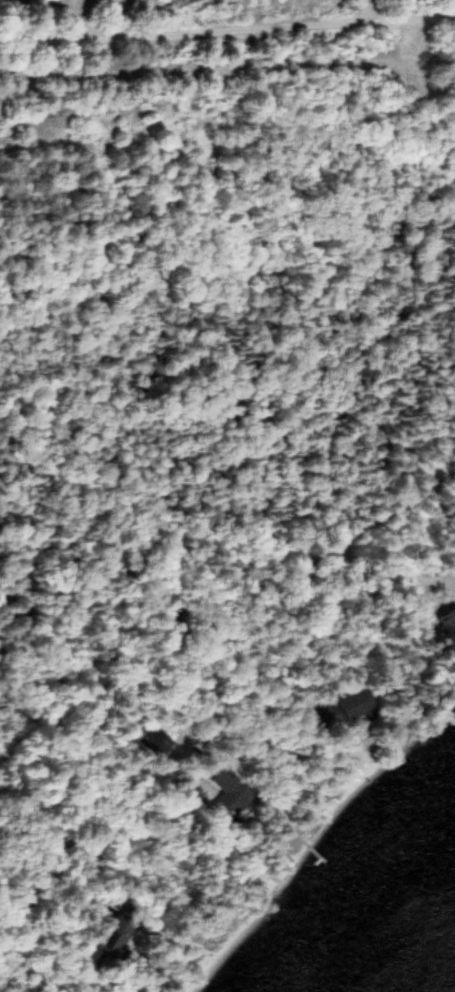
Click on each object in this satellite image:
road: (372, 10)
road: (227, 28)
road: (227, 68)
building: (454, 503)
road: (284, 568)
building: (450, 620)
road: (152, 659)
building: (353, 701)
building: (325, 714)
building: (229, 791)
building: (113, 931)

